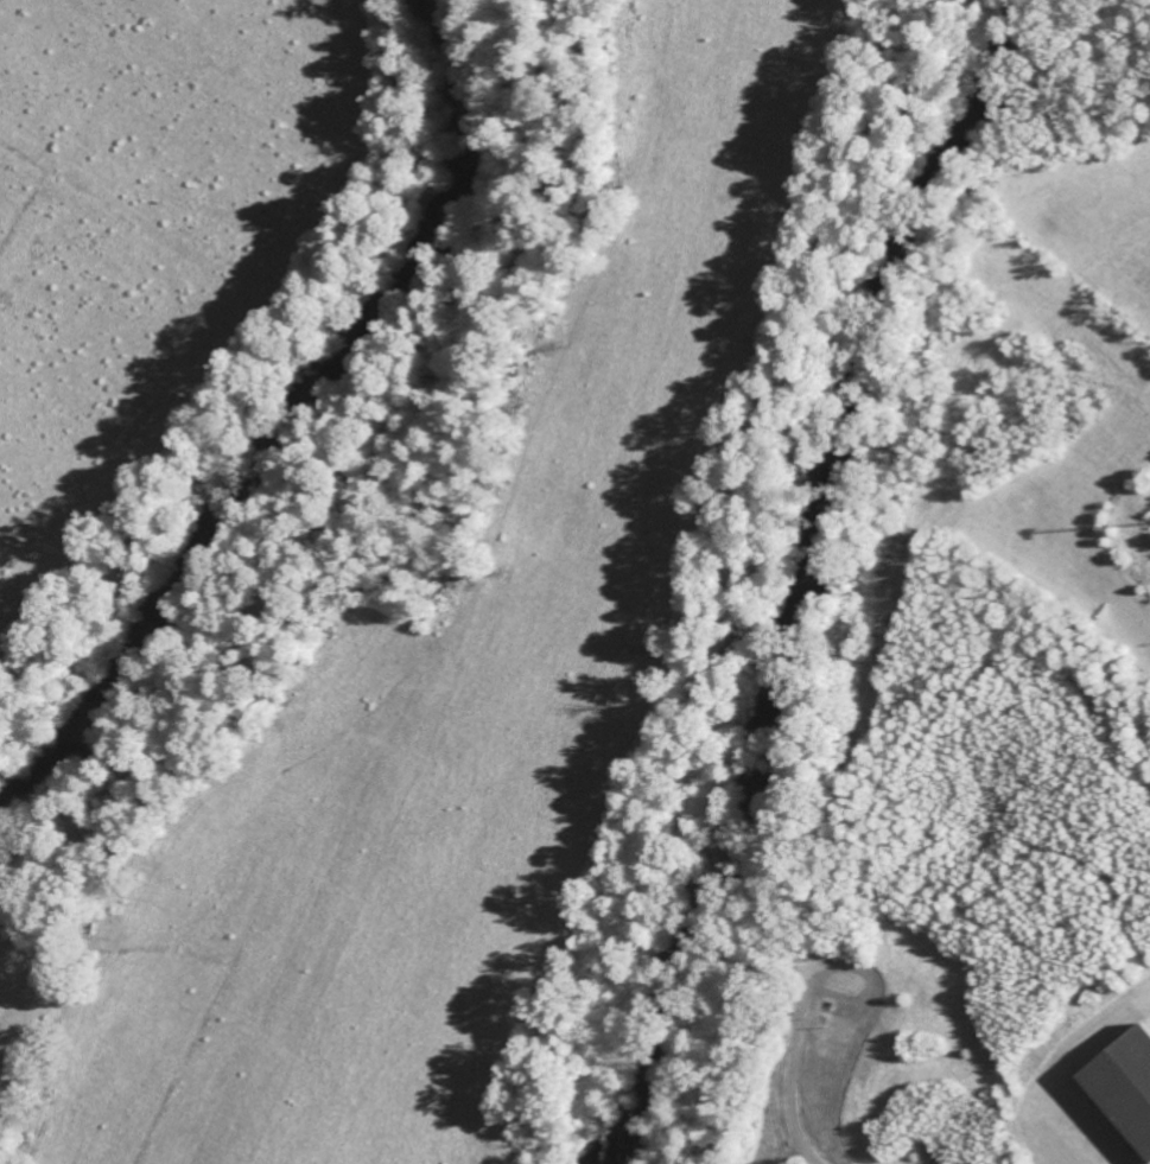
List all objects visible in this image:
building: (1120, 1092)

